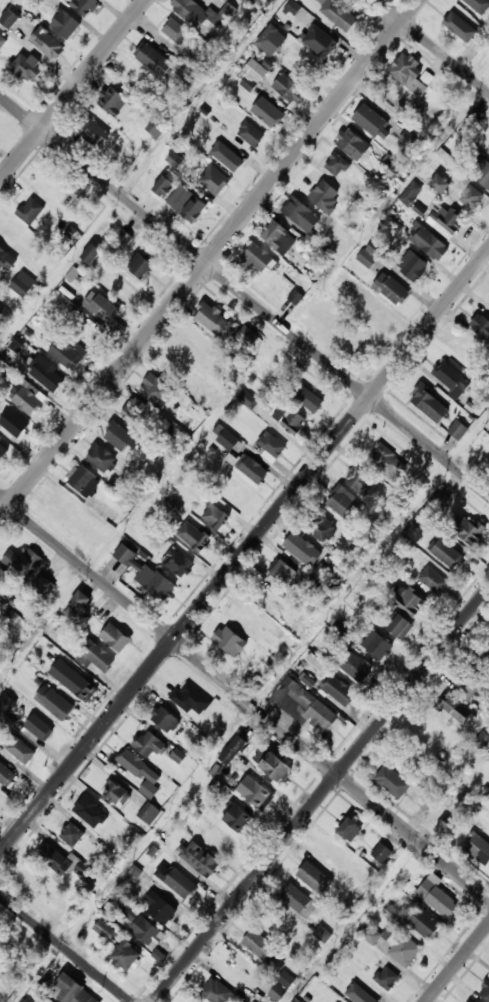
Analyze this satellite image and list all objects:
building: (479, 5)
building: (85, 6)
building: (292, 7)
building: (201, 13)
building: (338, 15)
building: (10, 19)
building: (457, 23)
building: (66, 24)
building: (174, 30)
building: (268, 36)
building: (2, 41)
building: (319, 41)
building: (47, 43)
road: (432, 46)
building: (164, 64)
building: (26, 68)
building: (255, 70)
building: (411, 74)
building: (129, 77)
building: (248, 83)
building: (289, 87)
road: (73, 90)
building: (112, 101)
building: (390, 101)
building: (268, 112)
building: (475, 116)
building: (372, 121)
building: (157, 127)
building: (93, 132)
building: (251, 133)
building: (353, 144)
building: (488, 150)
building: (488, 151)
building: (229, 156)
building: (176, 159)
building: (336, 164)
building: (483, 174)
building: (214, 182)
building: (165, 184)
building: (441, 184)
building: (314, 187)
building: (410, 193)
building: (324, 196)
building: (473, 198)
building: (187, 203)
building: (31, 211)
building: (301, 214)
building: (452, 221)
building: (395, 225)
building: (11, 229)
building: (70, 232)
building: (278, 236)
building: (122, 237)
building: (428, 241)
building: (92, 253)
building: (368, 256)
road: (210, 258)
building: (256, 258)
building: (6, 261)
building: (143, 265)
building: (413, 265)
building: (23, 284)
building: (391, 288)
road: (244, 295)
building: (488, 301)
building: (104, 310)
building: (372, 310)
building: (211, 318)
building: (481, 325)
building: (247, 337)
building: (17, 343)
building: (66, 354)
building: (224, 371)
building: (47, 373)
building: (451, 378)
building: (155, 389)
building: (211, 398)
building: (26, 399)
building: (248, 399)
building: (308, 399)
building: (430, 404)
building: (135, 410)
building: (290, 420)
building: (14, 423)
building: (458, 429)
building: (118, 436)
building: (271, 446)
building: (3, 452)
building: (101, 458)
building: (387, 462)
building: (254, 471)
building: (80, 477)
building: (360, 480)
building: (342, 502)
building: (215, 516)
building: (324, 529)
building: (465, 530)
building: (193, 536)
building: (304, 550)
road: (244, 553)
building: (125, 554)
building: (448, 555)
building: (23, 562)
building: (178, 562)
building: (281, 571)
building: (341, 572)
building: (4, 579)
building: (433, 580)
building: (156, 582)
building: (43, 585)
building: (410, 601)
building: (76, 605)
building: (251, 622)
building: (400, 626)
building: (116, 637)
building: (229, 640)
building: (377, 644)
building: (95, 657)
building: (483, 658)
building: (355, 666)
building: (473, 682)
building: (78, 684)
building: (340, 690)
building: (190, 697)
road: (244, 698)
building: (307, 701)
building: (55, 702)
building: (6, 705)
building: (458, 710)
building: (165, 718)
building: (39, 726)
building: (440, 734)
building: (482, 739)
building: (148, 742)
building: (18, 747)
building: (232, 749)
building: (277, 766)
building: (141, 772)
building: (6, 775)
building: (392, 781)
building: (254, 791)
building: (117, 793)
road: (321, 795)
building: (92, 811)
building: (149, 812)
building: (237, 817)
building: (351, 828)
building: (72, 834)
building: (219, 838)
building: (478, 847)
building: (382, 852)
building: (332, 854)
building: (199, 857)
building: (55, 858)
building: (84, 868)
building: (314, 877)
building: (37, 879)
building: (181, 883)
building: (436, 897)
building: (298, 900)
building: (160, 906)
building: (392, 913)
building: (424, 922)
building: (141, 924)
building: (104, 929)
building: (322, 933)
building: (371, 934)
building: (259, 945)
road: (65, 948)
building: (405, 950)
building: (128, 954)
road: (458, 964)
building: (386, 977)
building: (284, 978)
building: (271, 989)
building: (486, 989)
building: (74, 990)
building: (216, 991)
building: (366, 995)
building: (24, 1000)
building: (336, 1001)
building: (471, 1001)
building: (475, 1001)

